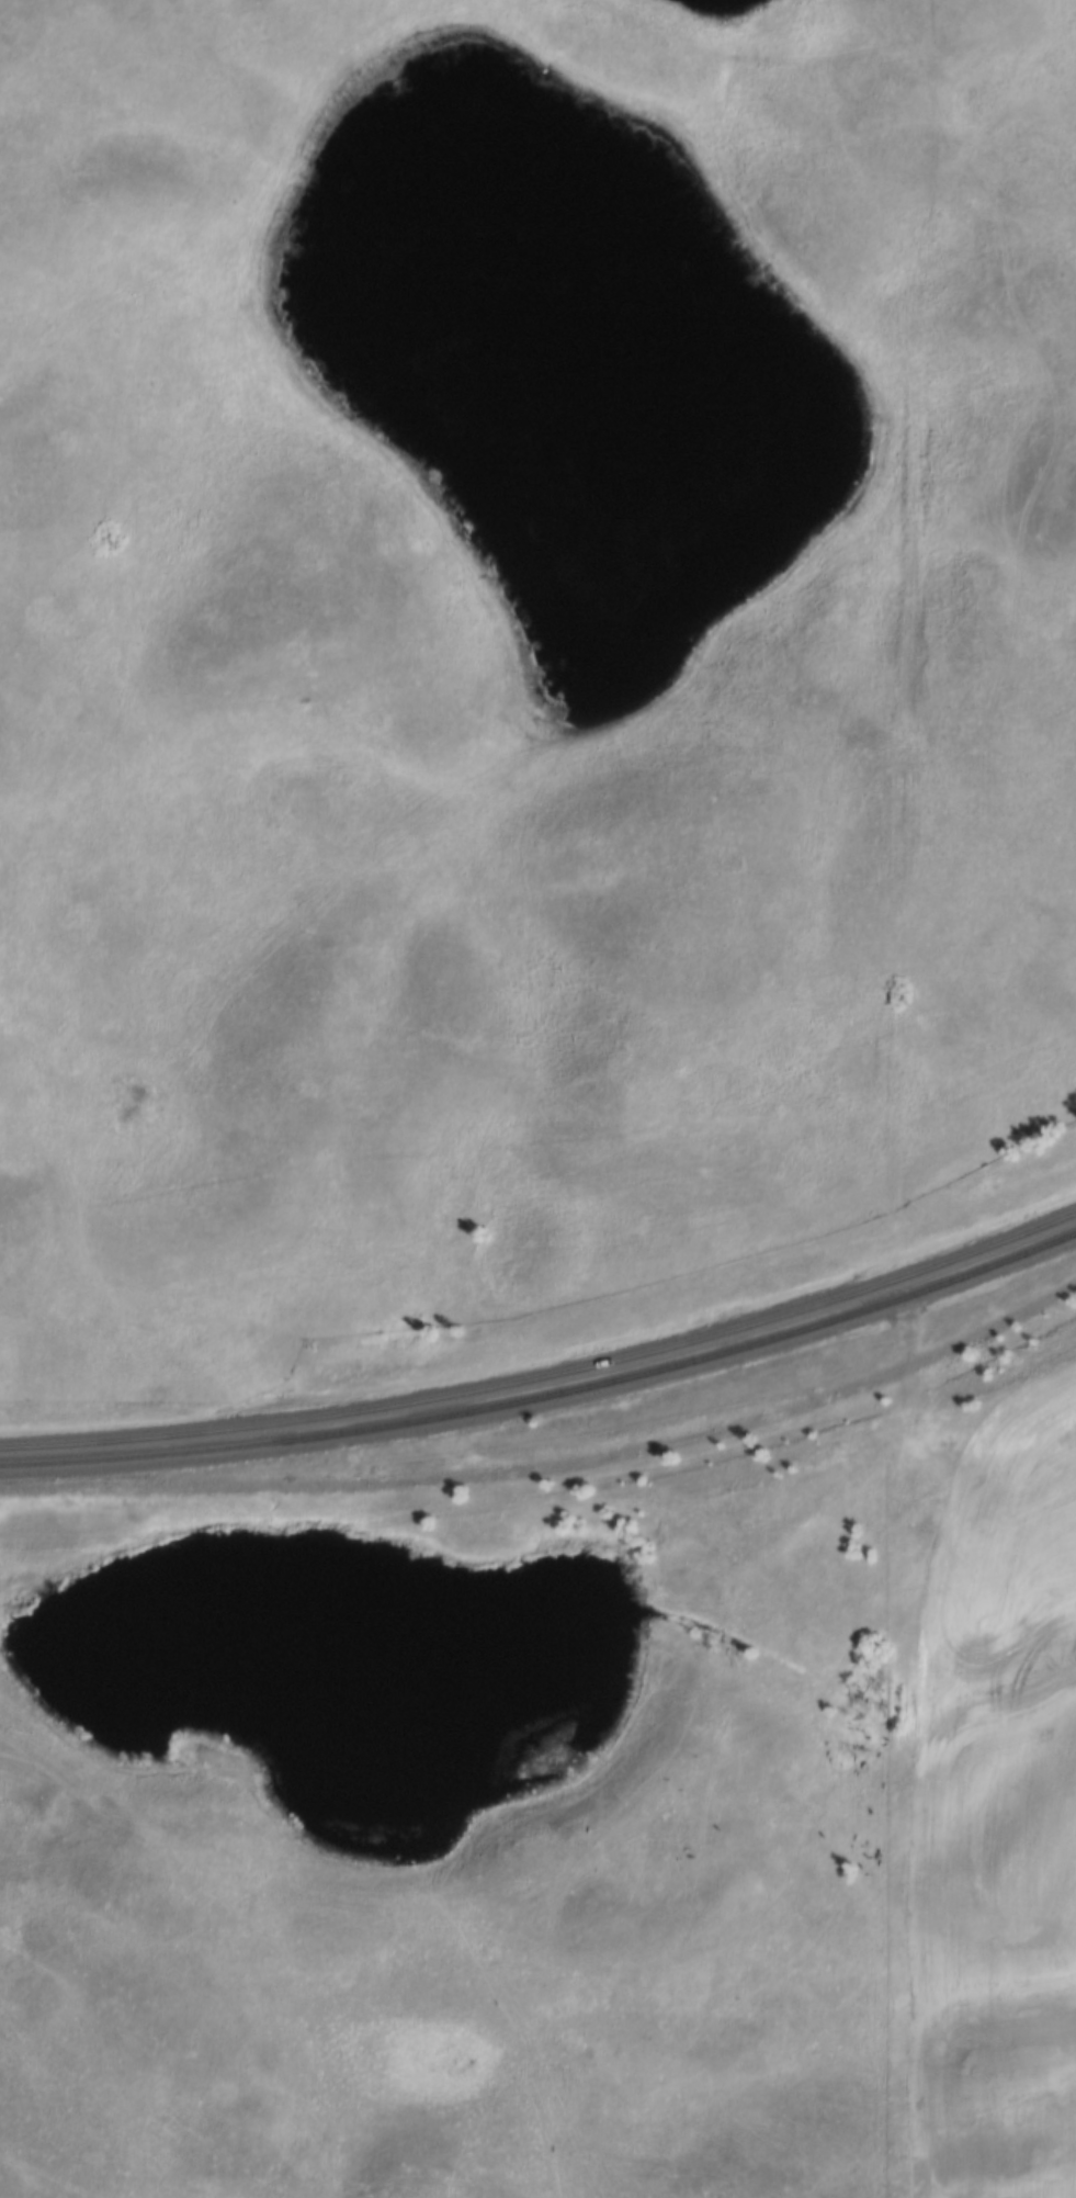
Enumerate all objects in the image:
road: (984, 199)
road: (986, 769)
railway: (547, 1368)
railway: (547, 1395)

